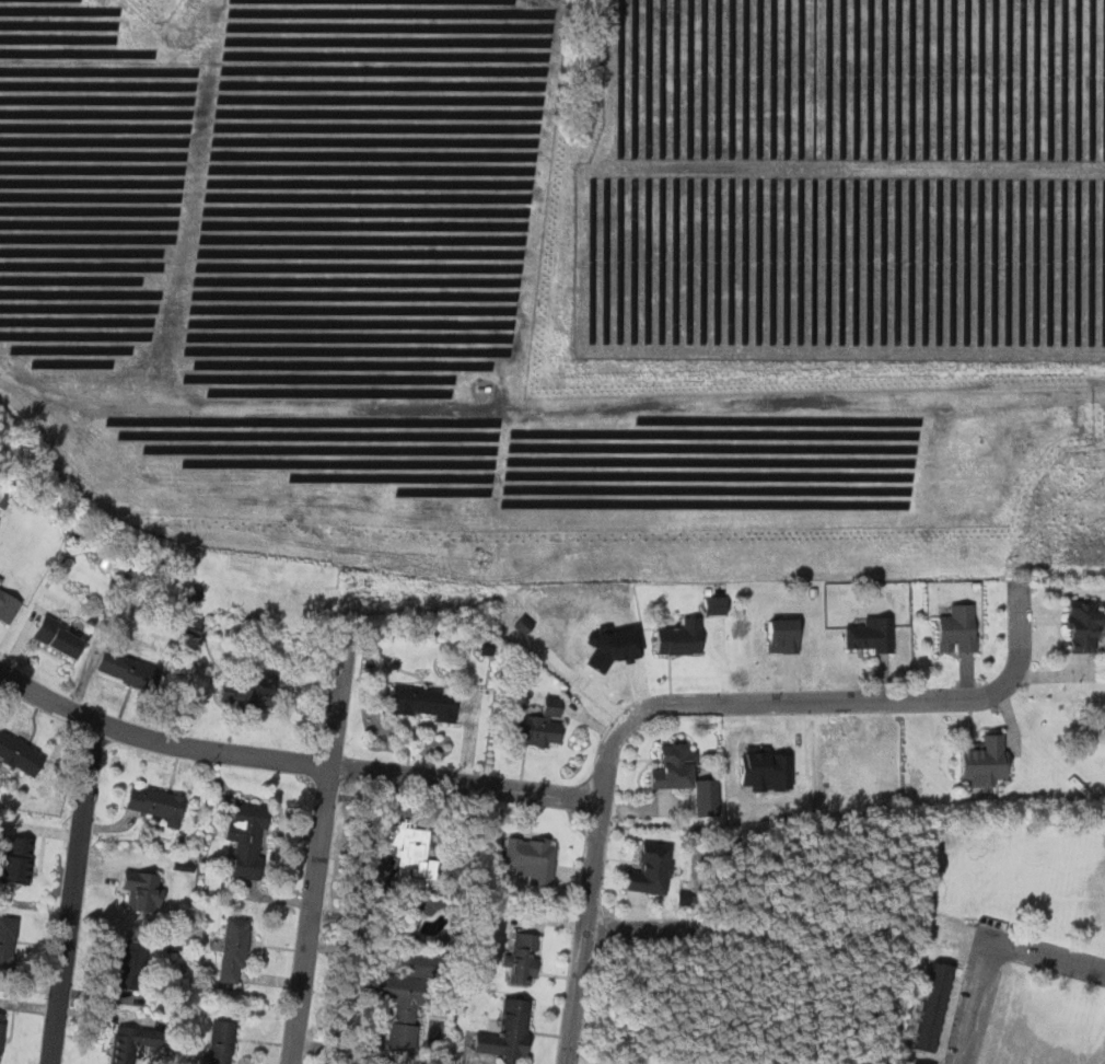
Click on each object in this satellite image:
road: (780, 383)
building: (10, 603)
building: (717, 605)
building: (1086, 624)
building: (196, 628)
building: (957, 628)
building: (866, 635)
building: (65, 637)
building: (682, 637)
building: (618, 646)
building: (135, 669)
building: (253, 690)
building: (426, 703)
road: (695, 708)
building: (542, 725)
building: (20, 754)
building: (984, 759)
road: (292, 763)
building: (675, 765)
building: (158, 802)
building: (247, 836)
road: (318, 852)
building: (414, 852)
building: (18, 853)
building: (528, 858)
building: (651, 868)
building: (139, 888)
road: (71, 893)
road: (717, 930)
building: (7, 941)
building: (234, 949)
road: (1043, 955)
building: (524, 956)
building: (133, 963)
building: (410, 994)
building: (934, 1005)
road: (978, 1015)
building: (1, 1028)
building: (509, 1030)
building: (132, 1041)
building: (221, 1041)
building: (920, 1061)

